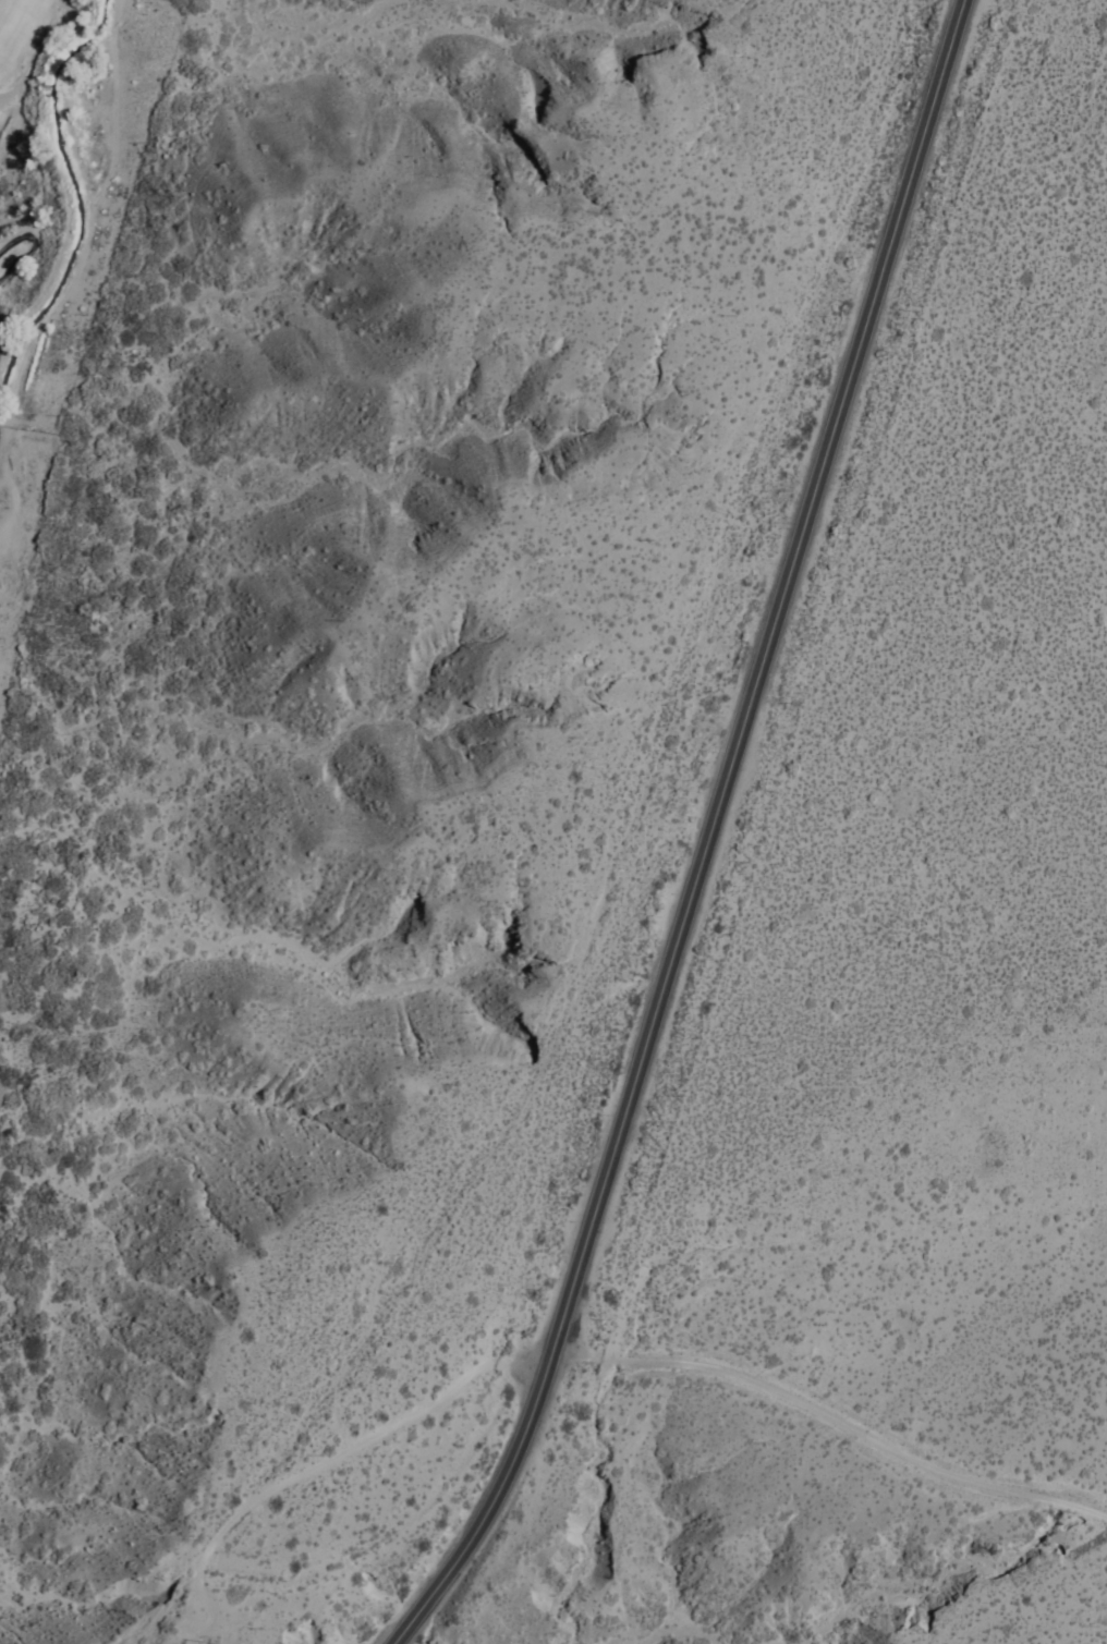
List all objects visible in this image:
road: (708, 836)
road: (522, 1362)
road: (832, 1410)
road: (328, 1466)

